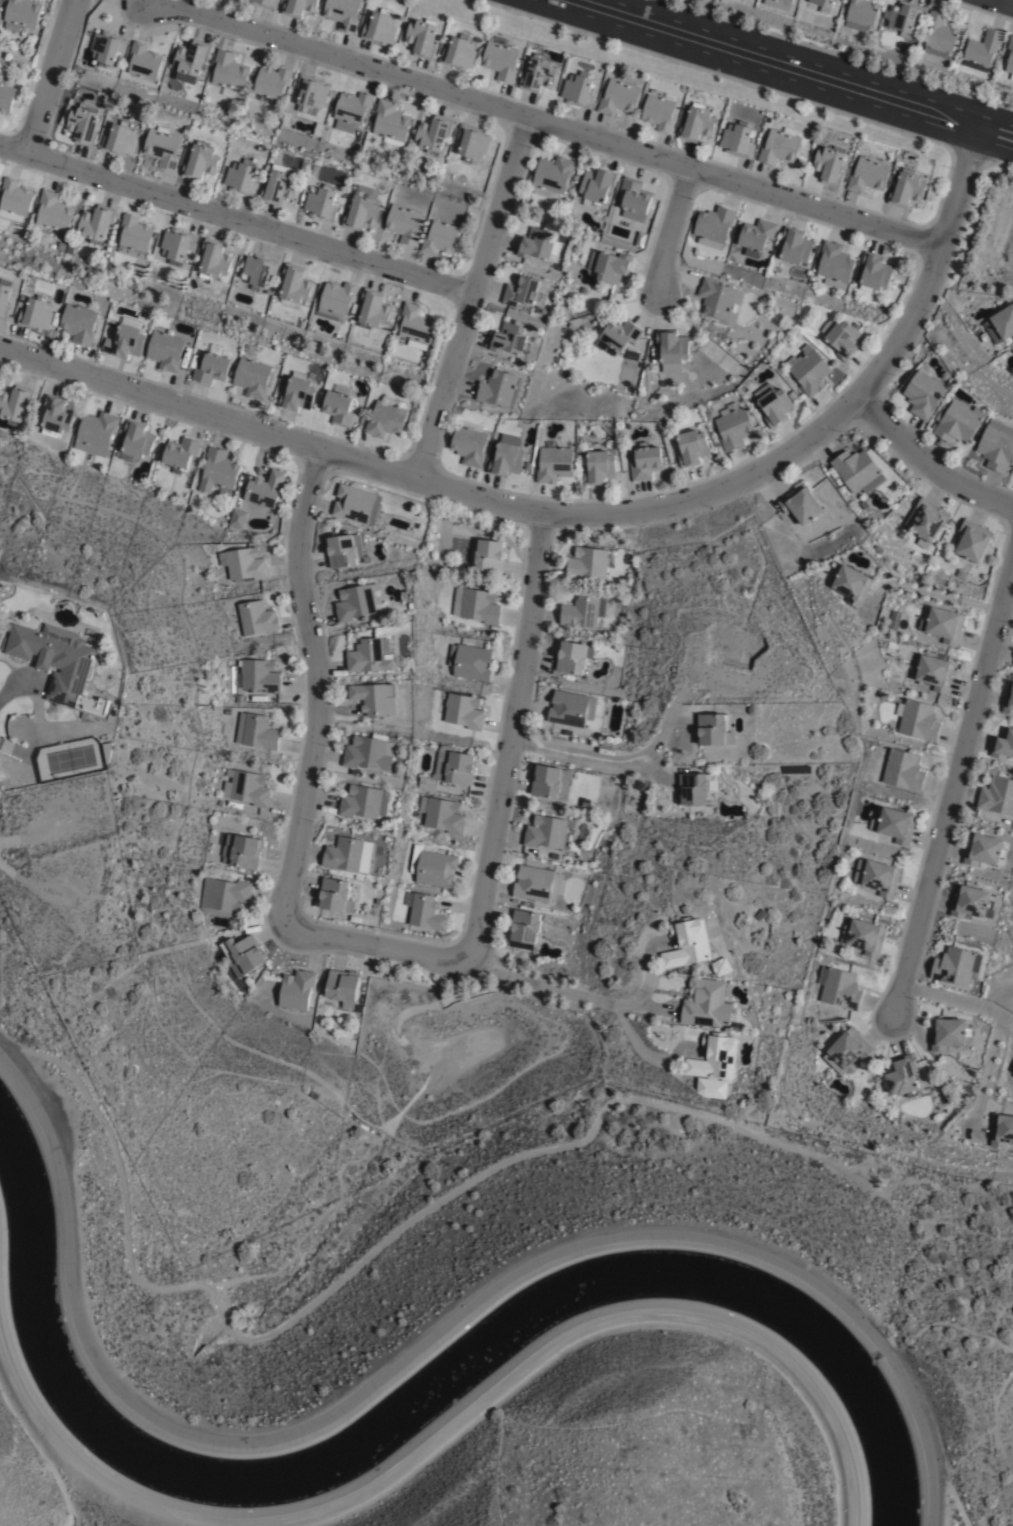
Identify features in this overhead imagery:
road: (1005, 2)
building: (266, 3)
building: (778, 3)
building: (824, 4)
building: (299, 7)
building: (343, 13)
building: (21, 15)
building: (861, 15)
building: (903, 17)
building: (381, 27)
building: (938, 35)
building: (423, 36)
building: (106, 46)
building: (981, 50)
building: (460, 53)
building: (1010, 57)
building: (501, 58)
building: (192, 59)
building: (144, 61)
road: (791, 69)
building: (229, 73)
building: (539, 74)
road: (50, 75)
building: (272, 81)
building: (312, 92)
building: (578, 92)
building: (6, 93)
building: (619, 97)
building: (352, 107)
building: (660, 111)
road: (544, 121)
building: (390, 123)
building: (697, 124)
building: (84, 126)
building: (433, 132)
building: (120, 141)
building: (737, 141)
building: (472, 142)
building: (780, 146)
building: (162, 147)
building: (199, 163)
building: (830, 166)
building: (305, 167)
building: (315, 170)
building: (869, 175)
building: (552, 176)
building: (241, 179)
building: (279, 185)
building: (597, 187)
building: (908, 189)
building: (634, 199)
building: (15, 200)
building: (322, 203)
building: (362, 209)
building: (53, 214)
road: (236, 218)
building: (97, 223)
building: (405, 224)
building: (714, 226)
road: (670, 228)
building: (135, 234)
building: (756, 237)
building: (441, 238)
building: (176, 245)
building: (538, 245)
building: (61, 247)
building: (796, 247)
building: (213, 260)
building: (835, 265)
building: (609, 266)
building: (259, 270)
building: (875, 273)
building: (294, 285)
building: (521, 293)
road: (472, 297)
building: (719, 299)
building: (5, 300)
building: (337, 300)
building: (373, 310)
building: (37, 316)
building: (1003, 323)
building: (80, 324)
building: (416, 326)
building: (617, 338)
building: (845, 340)
building: (509, 341)
building: (126, 343)
building: (673, 350)
building: (169, 352)
building: (630, 354)
building: (213, 367)
building: (809, 370)
building: (252, 378)
building: (500, 390)
building: (925, 393)
building: (297, 394)
building: (14, 404)
building: (340, 406)
building: (777, 407)
building: (57, 415)
building: (388, 418)
building: (958, 423)
building: (733, 427)
building: (96, 434)
building: (138, 441)
building: (469, 444)
building: (997, 446)
building: (692, 449)
building: (182, 455)
building: (506, 457)
road: (925, 461)
building: (644, 462)
building: (553, 464)
building: (527, 466)
building: (599, 468)
building: (218, 469)
building: (857, 469)
building: (264, 487)
building: (354, 500)
building: (800, 502)
building: (863, 503)
road: (580, 513)
building: (237, 516)
building: (924, 518)
building: (972, 537)
building: (344, 551)
building: (489, 556)
building: (366, 560)
building: (244, 561)
building: (588, 564)
building: (961, 573)
building: (640, 576)
building: (851, 581)
building: (636, 589)
road: (925, 591)
building: (357, 603)
building: (476, 606)
building: (582, 613)
building: (257, 616)
building: (944, 621)
building: (232, 633)
building: (369, 657)
building: (55, 660)
building: (573, 660)
building: (470, 663)
building: (1012, 664)
building: (934, 669)
building: (259, 673)
road: (314, 686)
building: (1008, 698)
building: (374, 699)
building: (570, 710)
building: (464, 712)
building: (917, 718)
building: (713, 727)
building: (256, 730)
road: (511, 735)
building: (1003, 743)
road: (4, 744)
building: (367, 754)
road: (605, 758)
building: (460, 768)
building: (903, 768)
building: (545, 778)
building: (427, 783)
road: (953, 785)
building: (246, 786)
building: (697, 786)
building: (997, 795)
building: (363, 800)
building: (584, 804)
building: (442, 813)
building: (898, 823)
building: (547, 831)
building: (983, 847)
building: (241, 851)
building: (348, 853)
building: (412, 857)
building: (434, 866)
building: (878, 874)
building: (534, 883)
building: (336, 893)
building: (223, 895)
building: (379, 900)
building: (971, 900)
building: (684, 909)
building: (425, 910)
building: (760, 914)
building: (523, 927)
building: (864, 934)
building: (688, 942)
road: (376, 947)
building: (241, 953)
building: (956, 965)
building: (721, 966)
building: (343, 986)
building: (839, 987)
road: (547, 988)
building: (296, 989)
building: (706, 1003)
building: (360, 1009)
road: (999, 1021)
building: (947, 1032)
road: (642, 1041)
building: (847, 1049)
building: (714, 1056)
building: (901, 1075)
building: (1012, 1075)
building: (812, 1081)
building: (710, 1088)
building: (1001, 1130)
road: (606, 1321)
road: (895, 1374)
road: (293, 1436)
road: (95, 1483)

